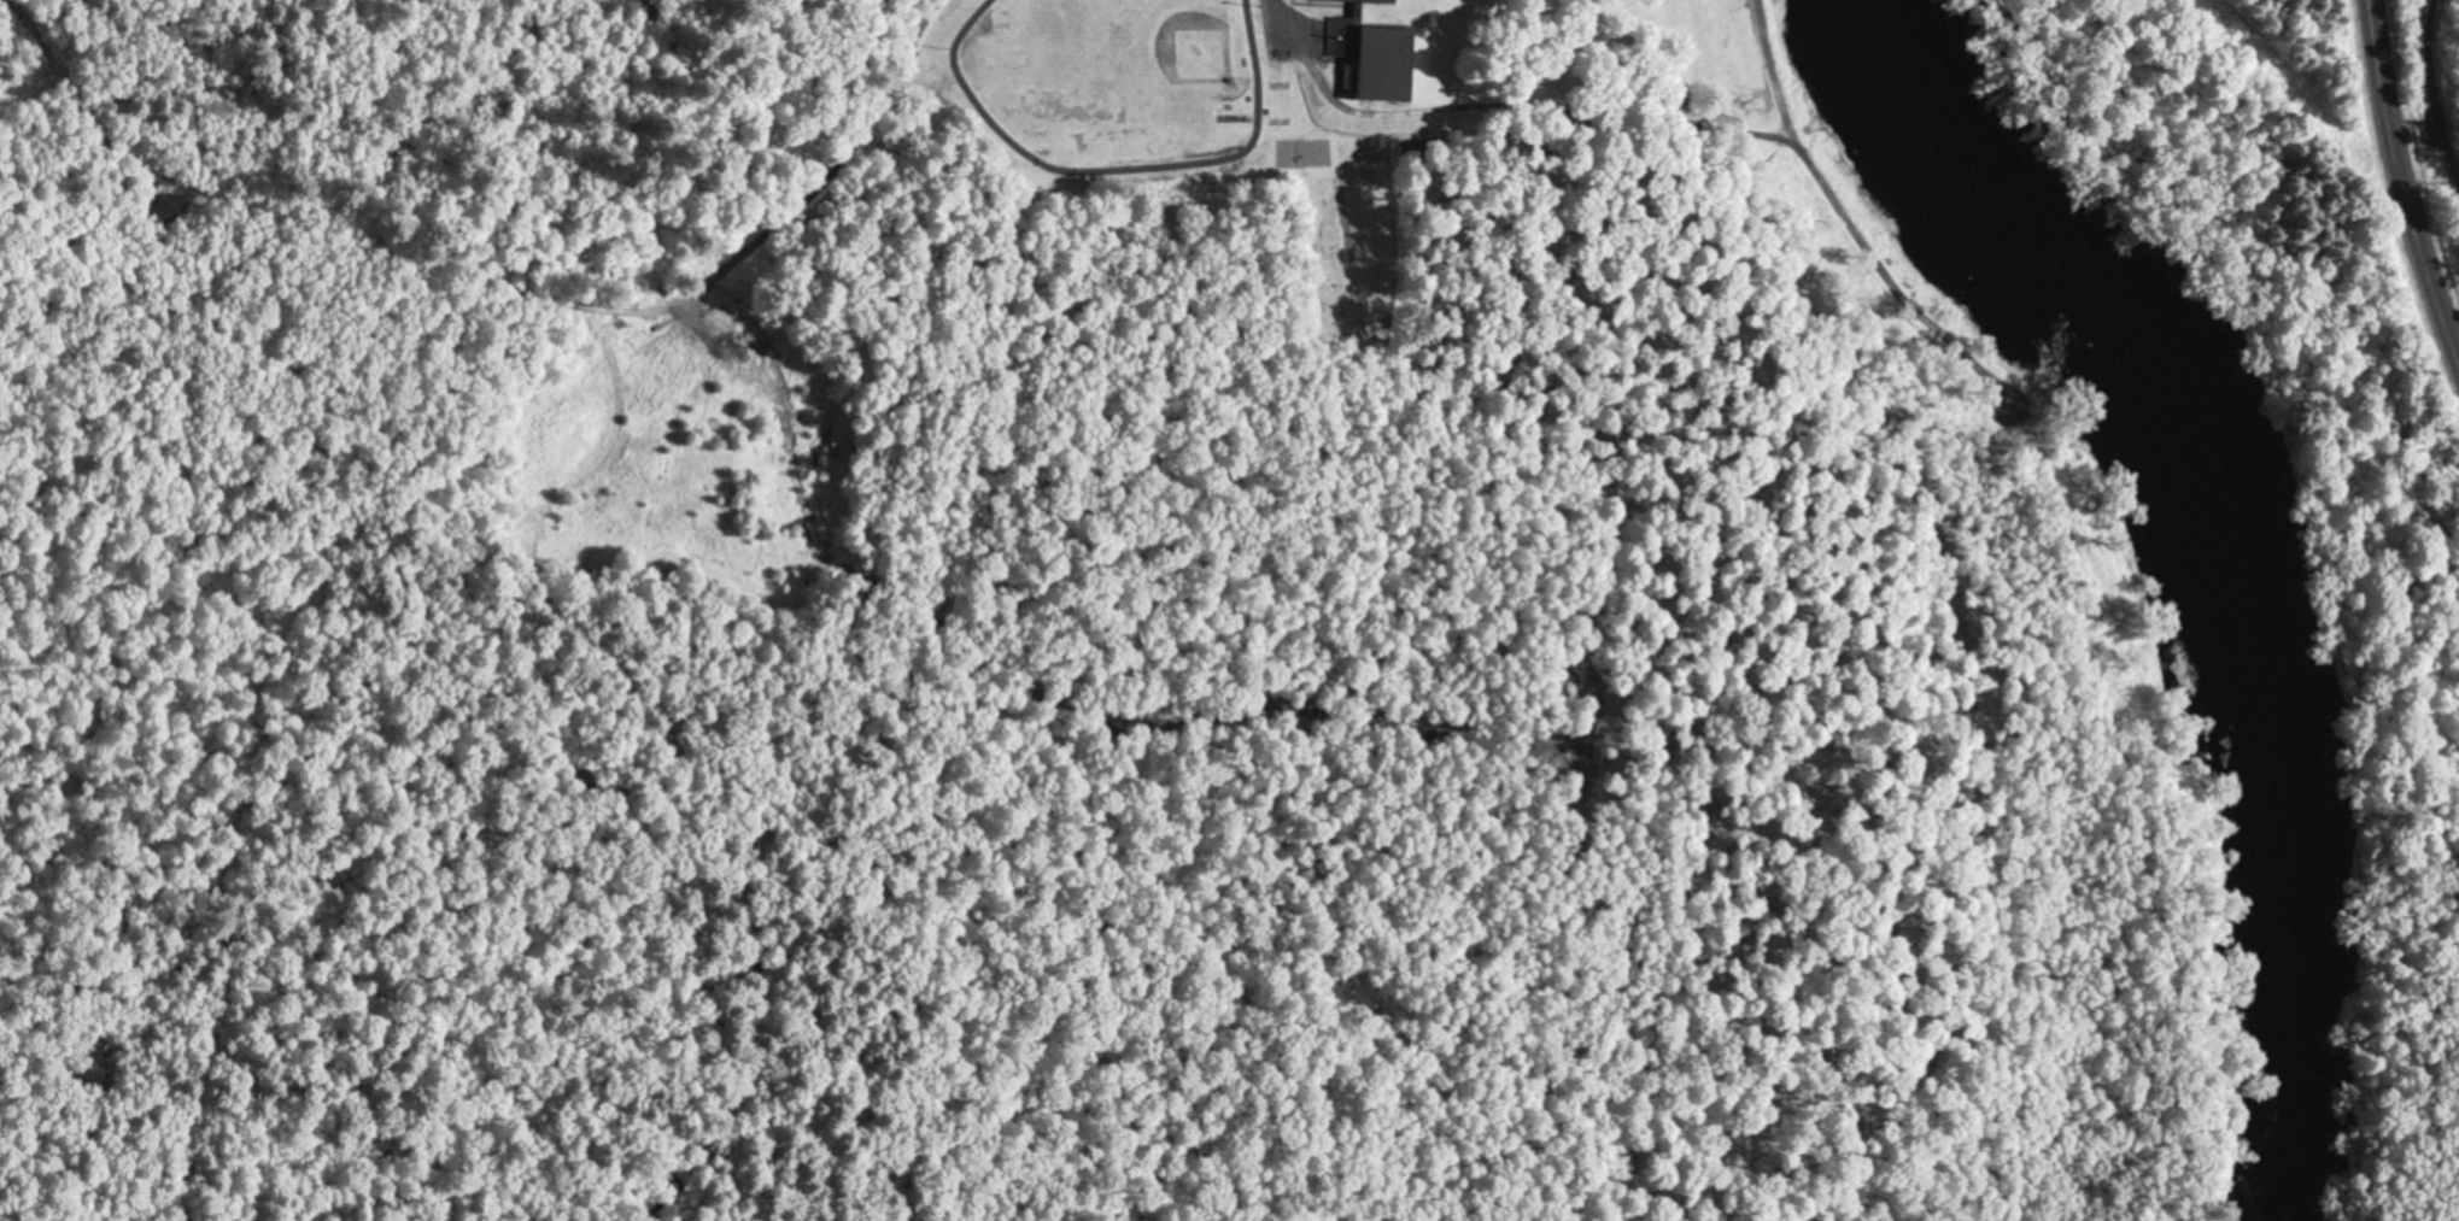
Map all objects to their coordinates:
building: (1362, 1)
park: (1187, 42)
building: (1375, 58)
road: (2405, 186)
road: (713, 262)
river: (2232, 564)

